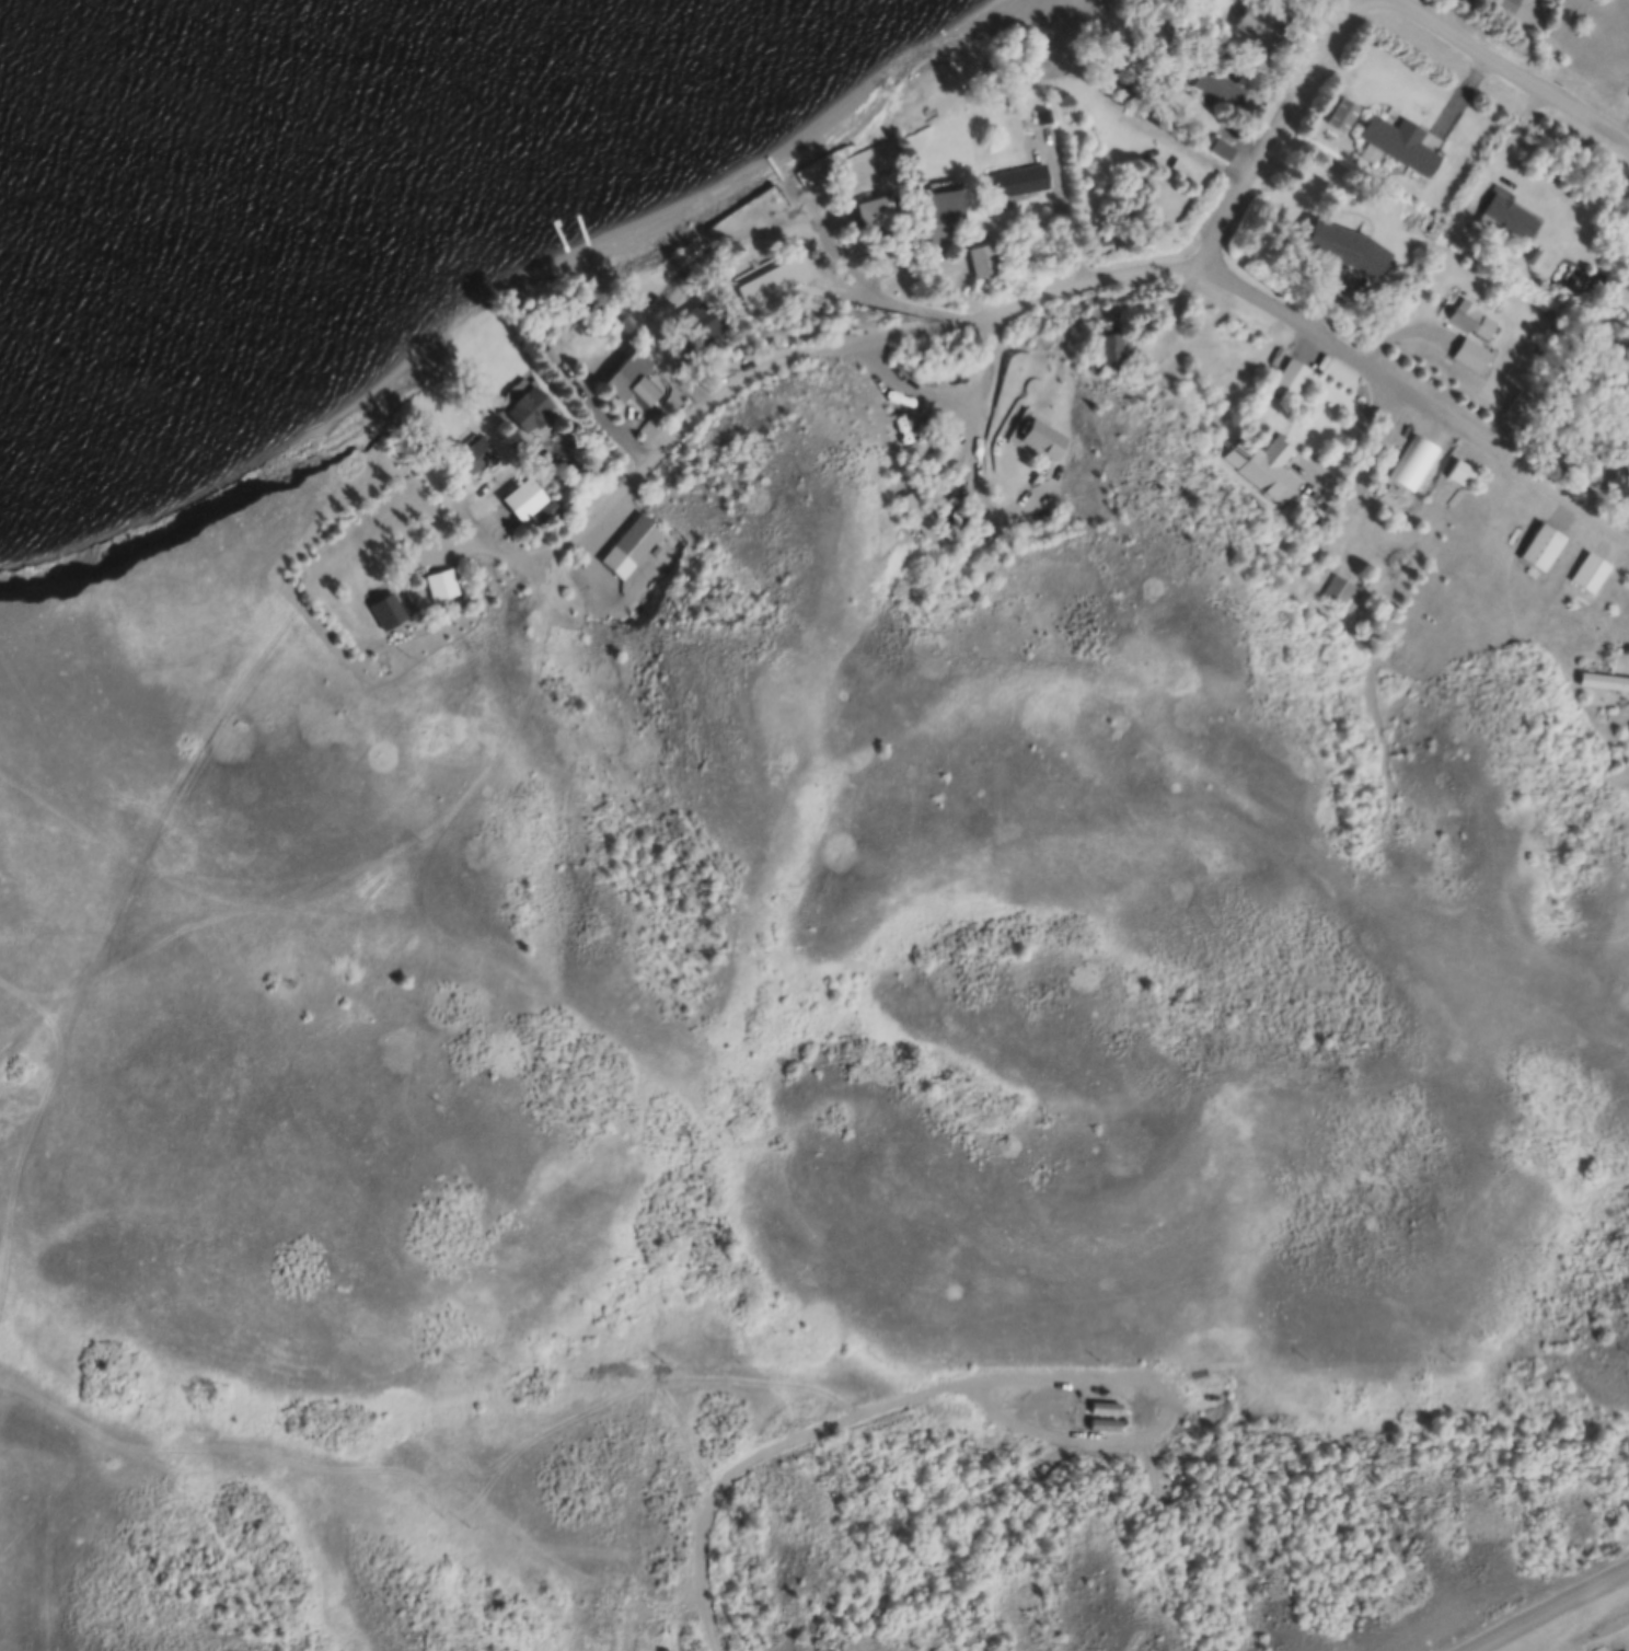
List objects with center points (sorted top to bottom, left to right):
building: (1502, 4)
building: (1255, 21)
road: (1512, 70)
building: (1210, 84)
building: (1062, 114)
building: (1340, 114)
building: (1039, 115)
road: (1273, 136)
building: (1398, 143)
building: (1222, 151)
building: (1013, 180)
building: (871, 208)
building: (938, 211)
building: (1507, 213)
building: (1349, 250)
building: (678, 253)
building: (1527, 253)
building: (688, 254)
building: (978, 258)
road: (858, 280)
building: (764, 282)
building: (1468, 324)
building: (690, 326)
building: (1098, 349)
building: (1466, 353)
road: (788, 368)
building: (1285, 374)
building: (624, 377)
road: (1414, 404)
building: (1517, 405)
building: (522, 406)
road: (969, 424)
building: (1035, 436)
building: (467, 454)
building: (941, 458)
building: (1406, 461)
building: (1257, 463)
building: (1456, 473)
building: (517, 497)
building: (547, 509)
building: (921, 519)
building: (628, 534)
building: (665, 542)
building: (1535, 545)
building: (1583, 570)
building: (436, 582)
building: (1328, 586)
building: (1339, 590)
building: (382, 609)
building: (1597, 677)
road: (170, 801)
building: (1179, 1398)
road: (1070, 1404)
building: (1090, 1404)
road: (1148, 1413)
building: (1091, 1421)
road: (744, 1448)
road: (1558, 1613)
building: (656, 1650)

